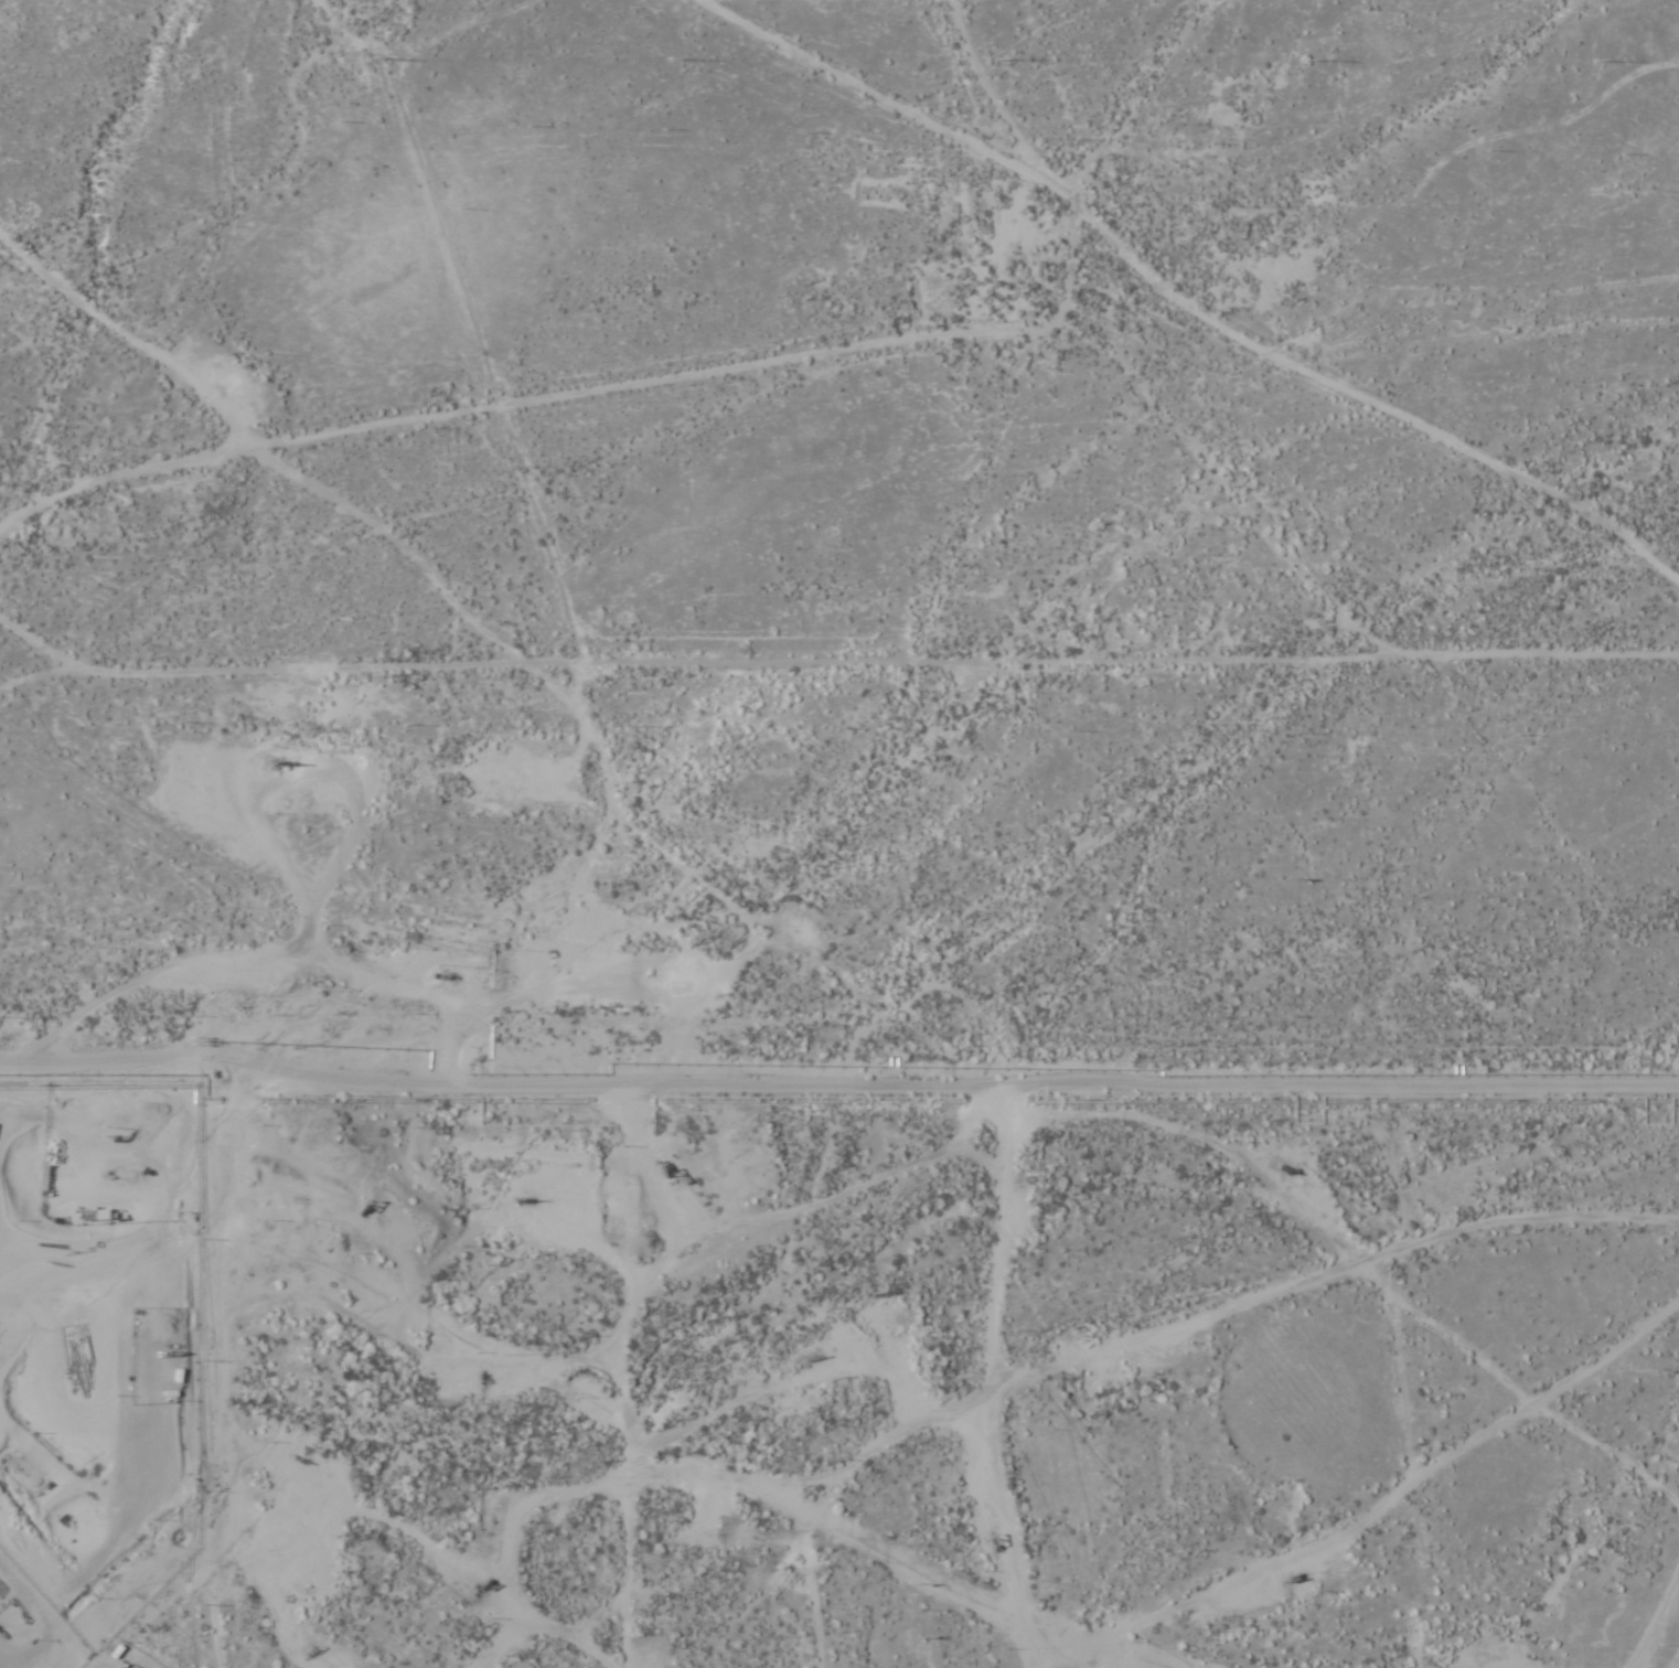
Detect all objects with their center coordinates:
road: (1135, 94)
road: (1078, 278)
road: (537, 403)
road: (919, 662)
road: (839, 1090)
building: (76, 1359)
road: (548, 1635)

